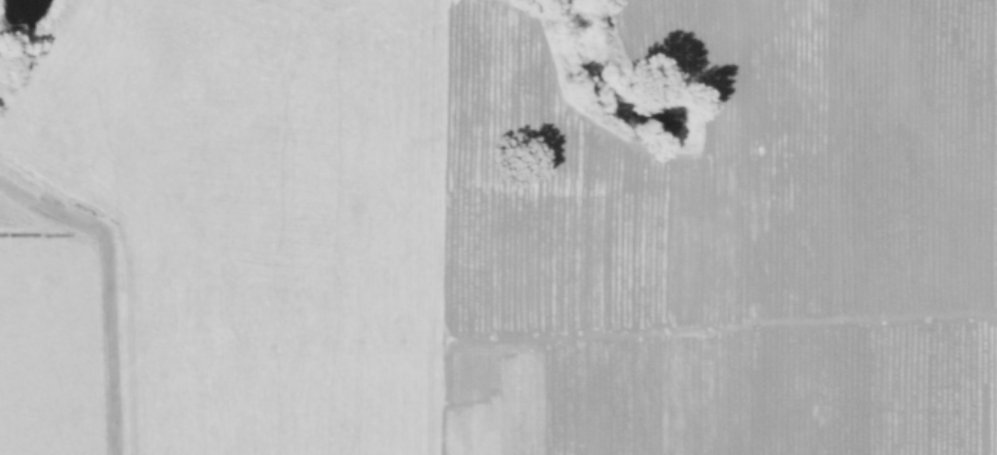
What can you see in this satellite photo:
crop: (498, 227)

